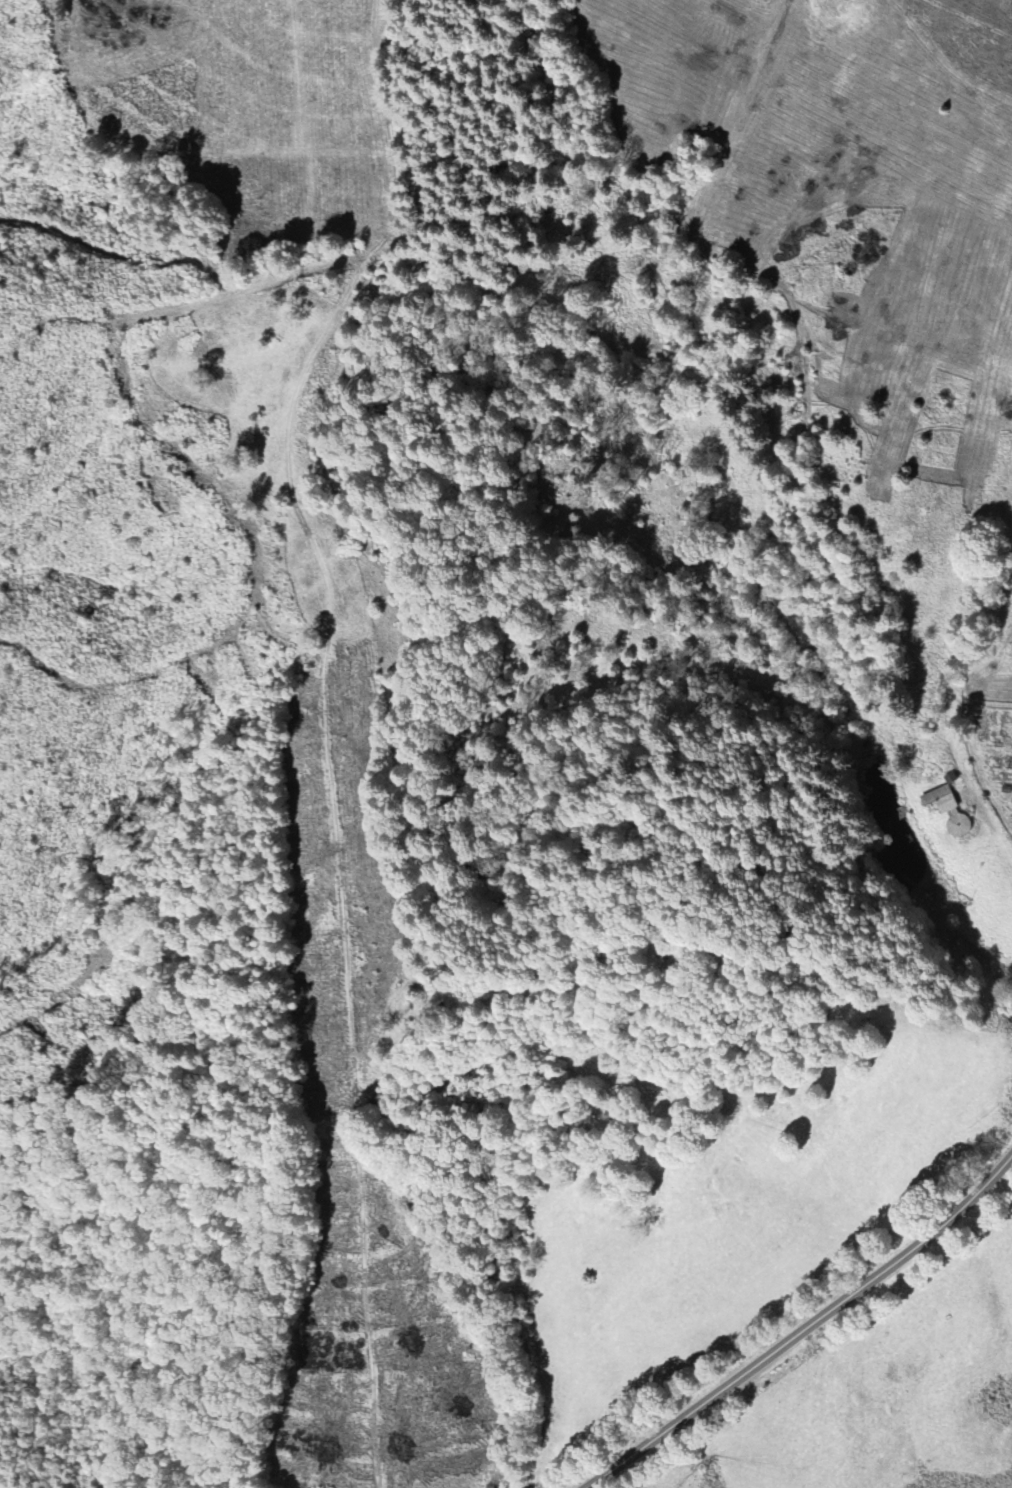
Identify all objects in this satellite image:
road: (801, 1327)

